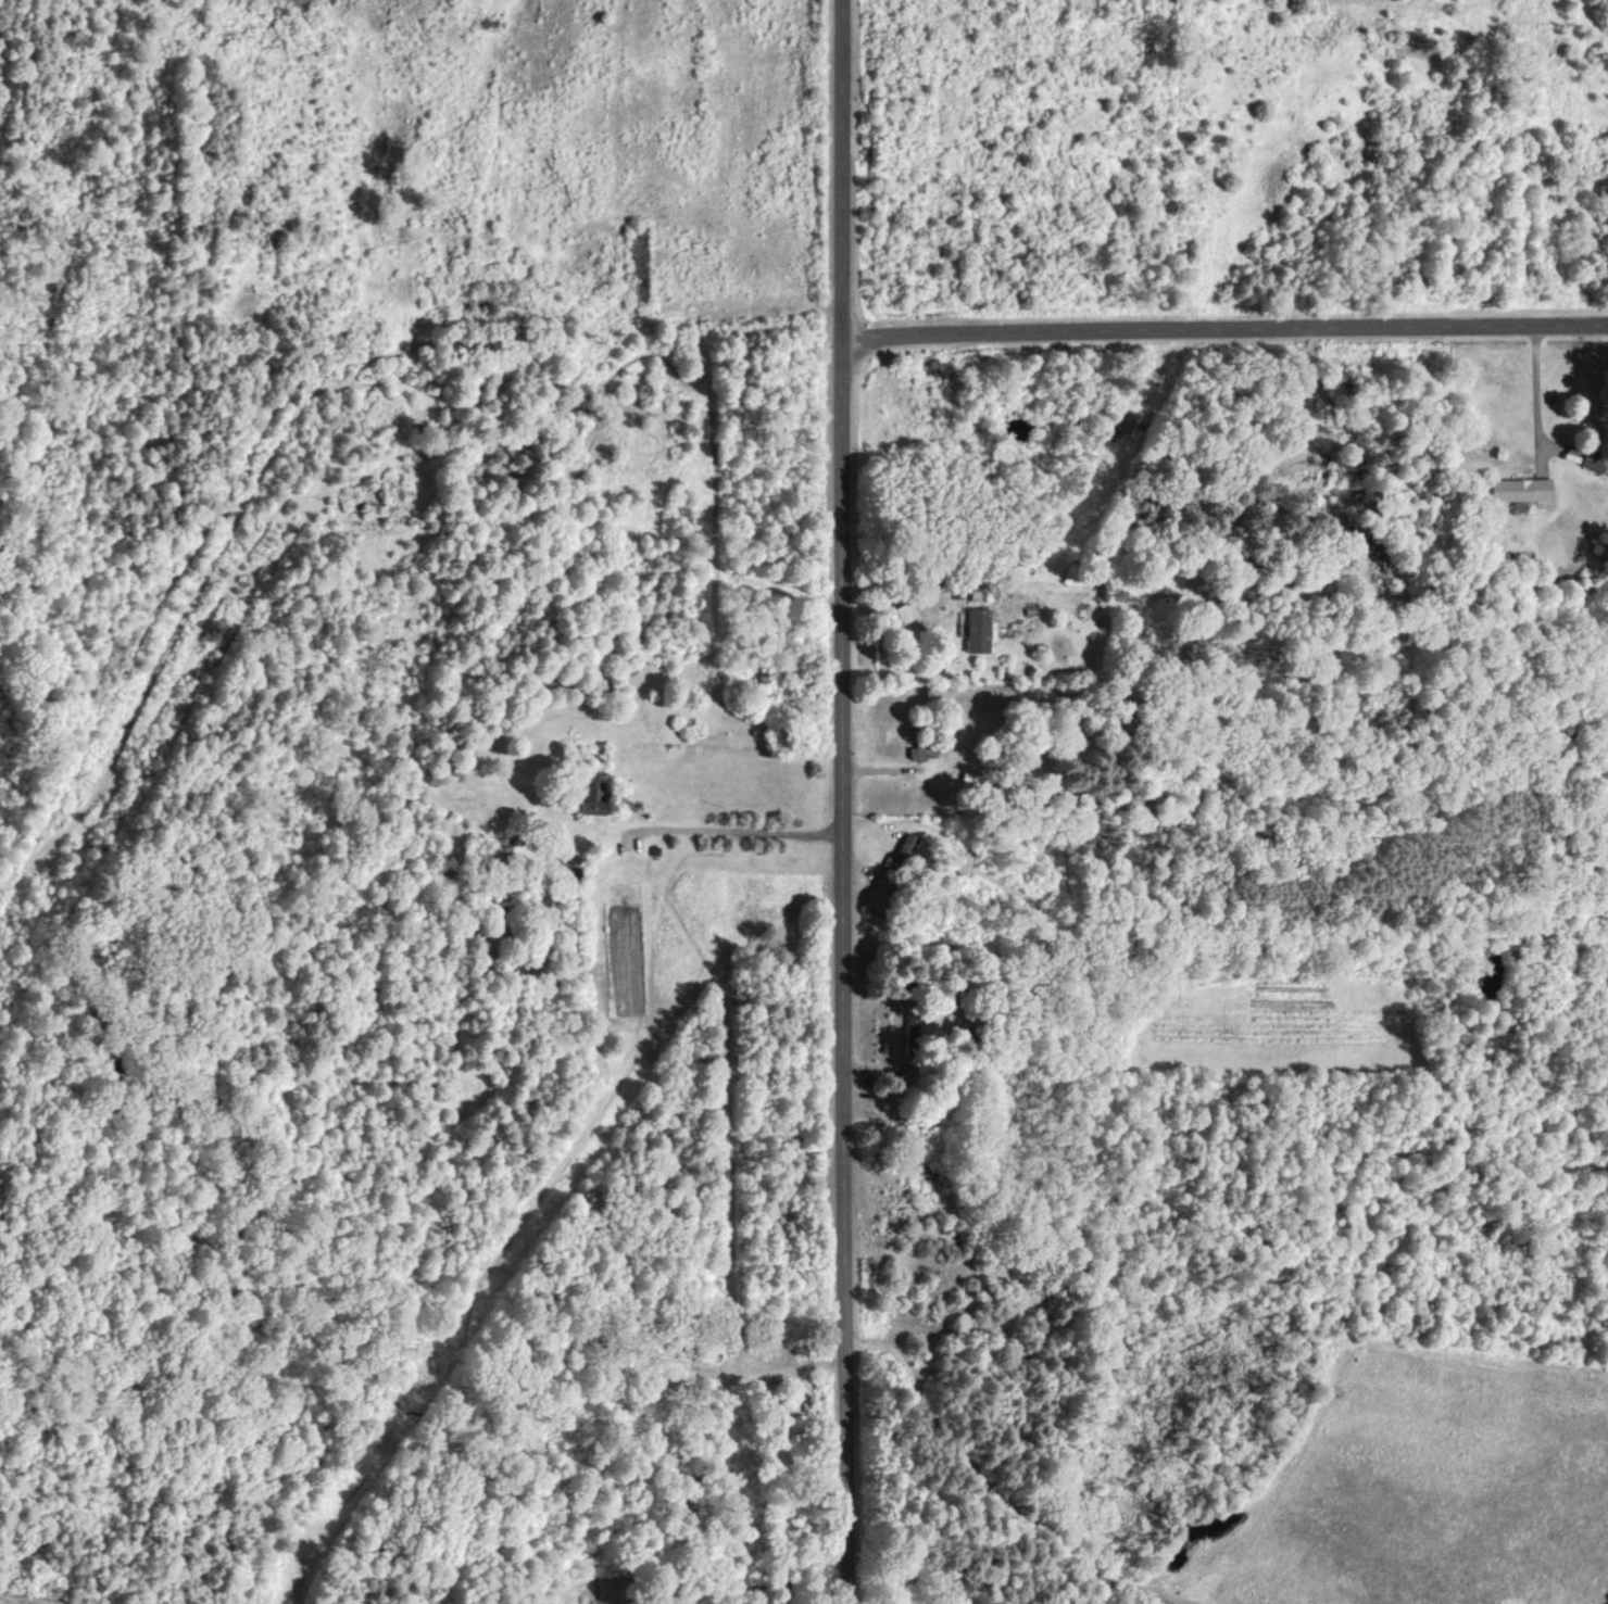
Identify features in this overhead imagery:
road: (1230, 337)
road: (1538, 400)
building: (1521, 489)
building: (908, 615)
building: (979, 629)
building: (920, 752)
building: (593, 796)
road: (851, 801)
road: (742, 824)
building: (907, 845)

